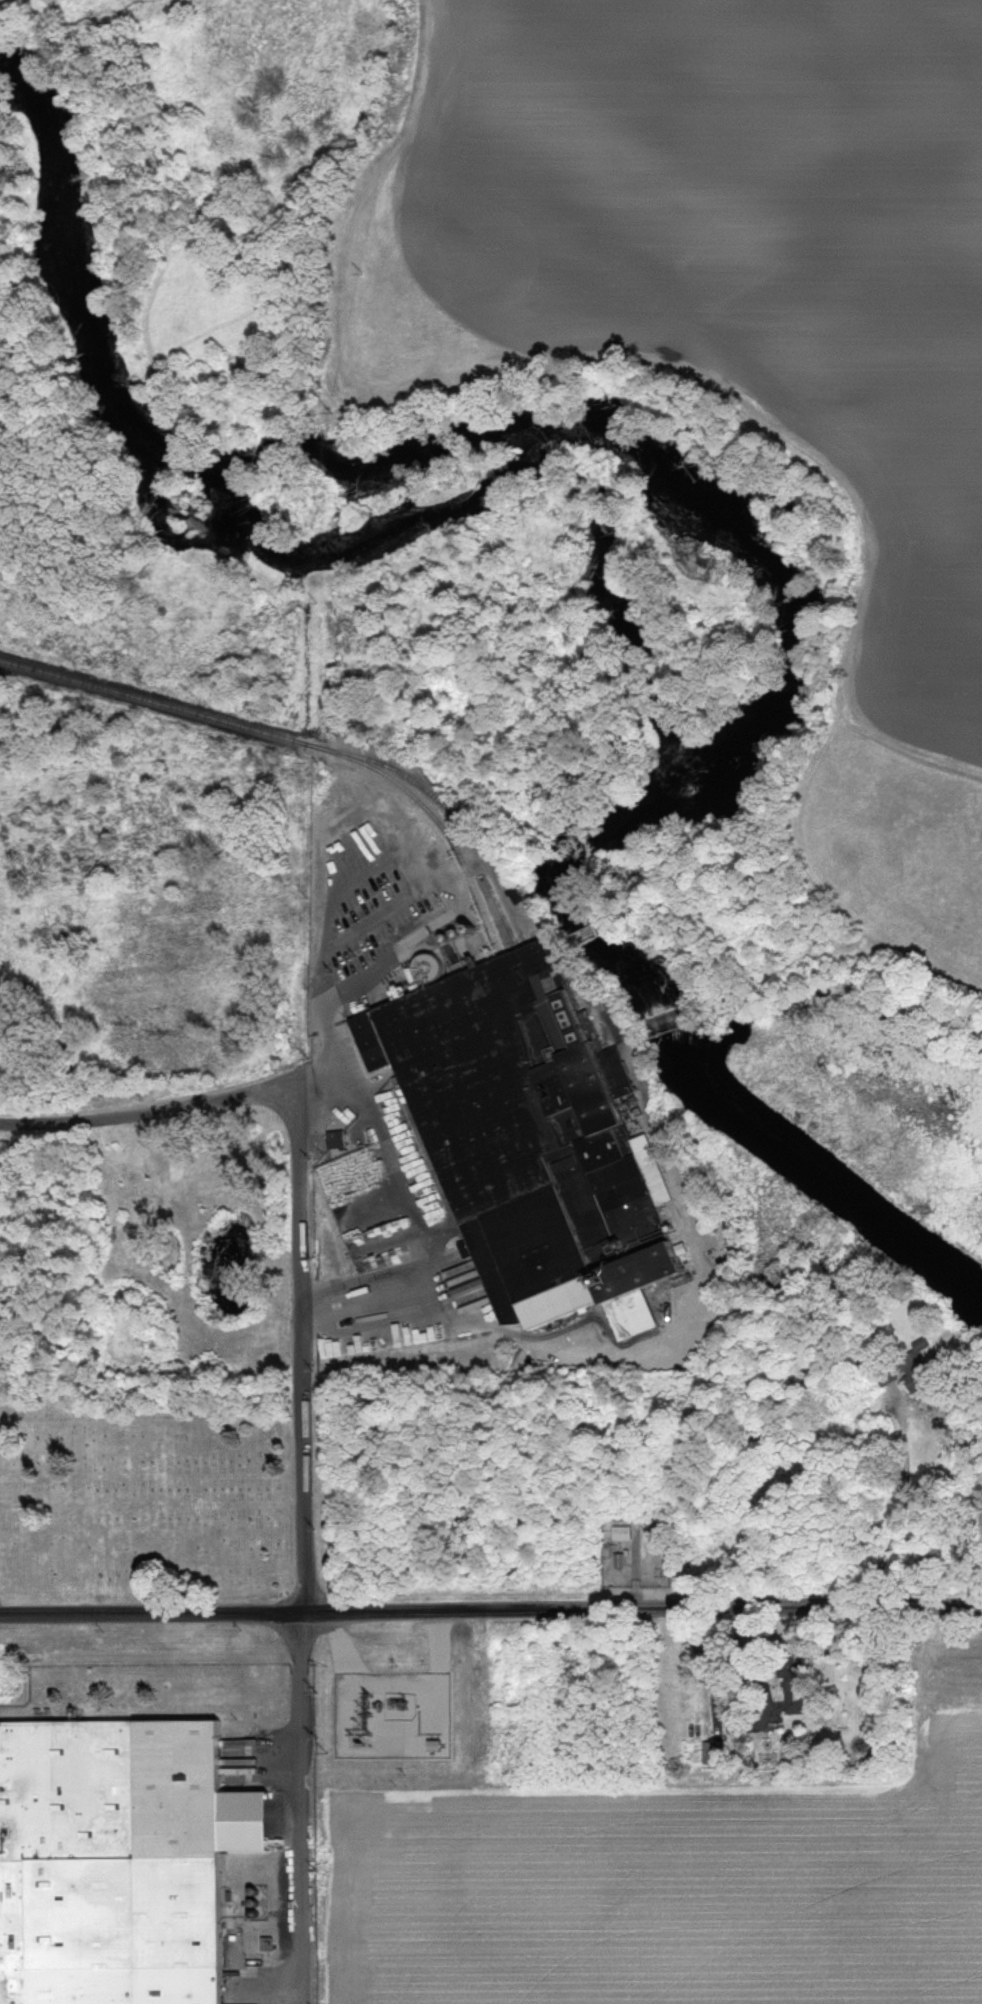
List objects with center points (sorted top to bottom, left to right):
river: (709, 530)
railway: (299, 740)
railway: (449, 811)
road: (886, 967)
road: (267, 1089)
building: (331, 1141)
building: (525, 1145)
road: (299, 1347)
building: (912, 1369)
park: (143, 1493)
building: (616, 1562)
road: (644, 1609)
road: (153, 1612)
building: (790, 1702)
road: (735, 1722)
building: (712, 1754)
road: (299, 1807)
building: (113, 1863)
crop: (673, 1903)

